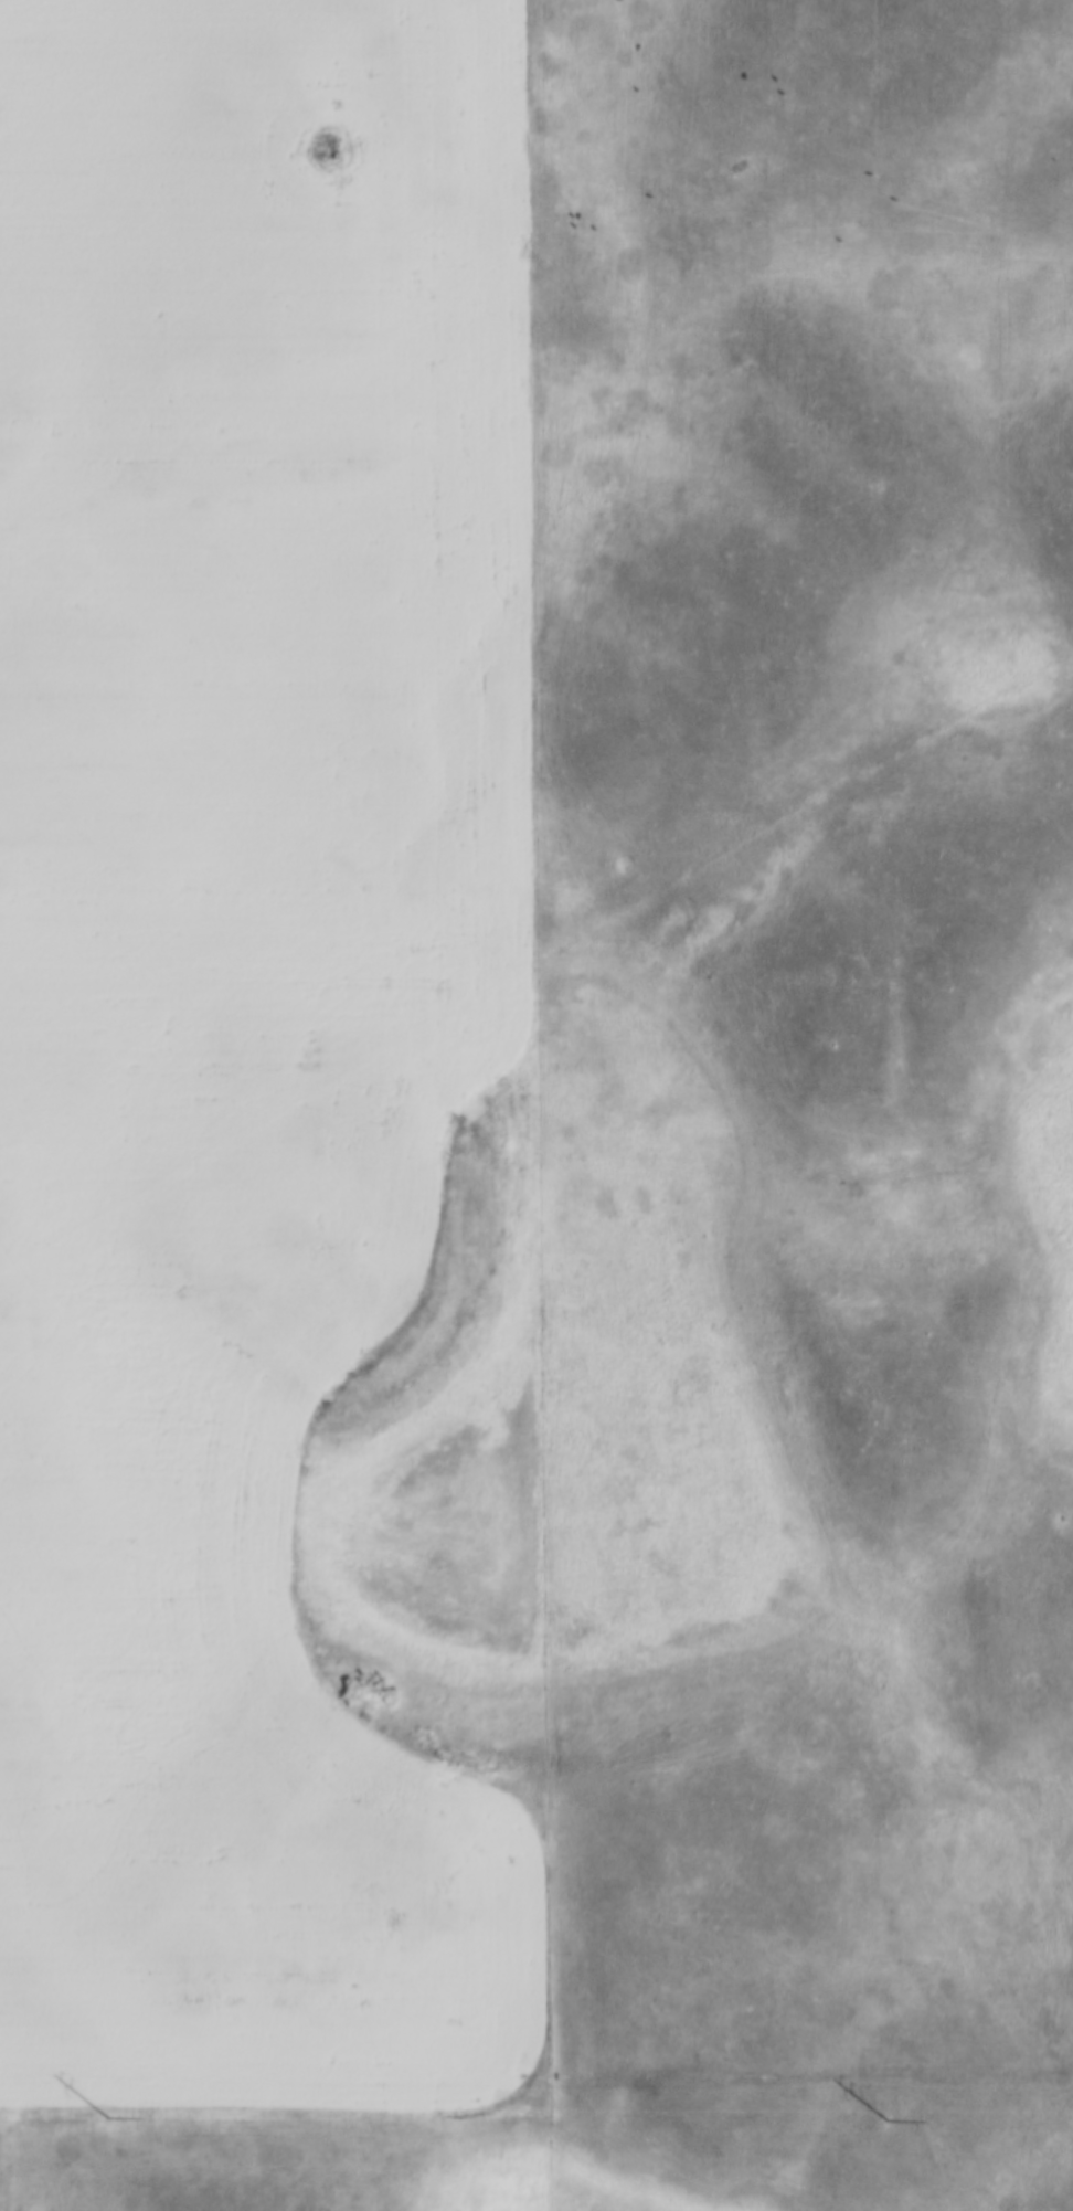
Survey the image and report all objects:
power tower: (105, 2116)
power tower: (883, 2120)

